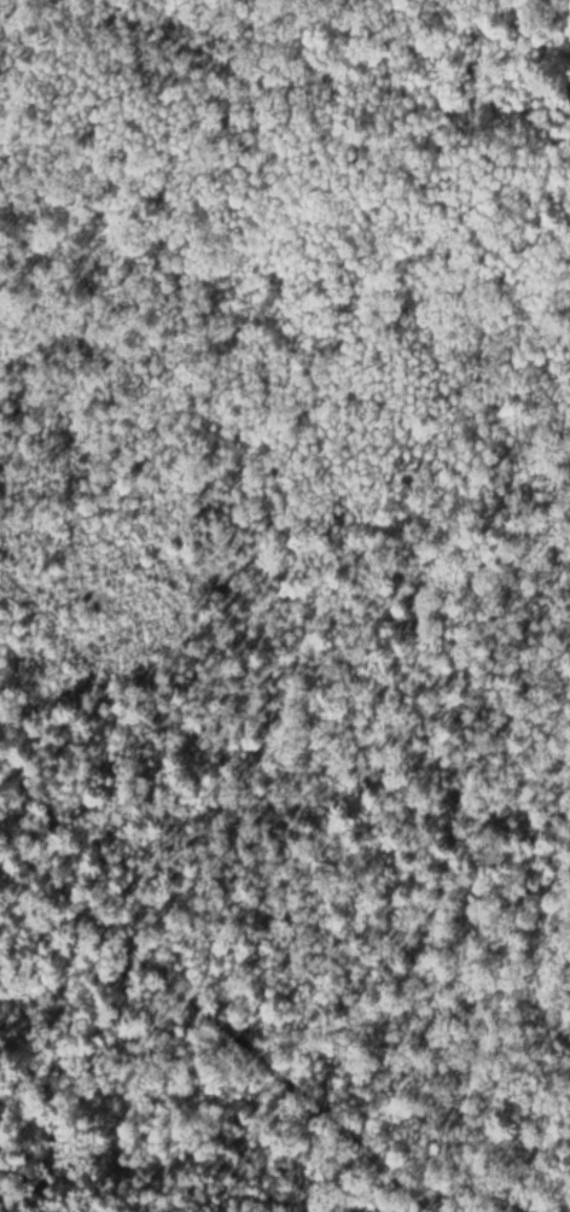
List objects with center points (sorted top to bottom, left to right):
road: (222, 1020)

